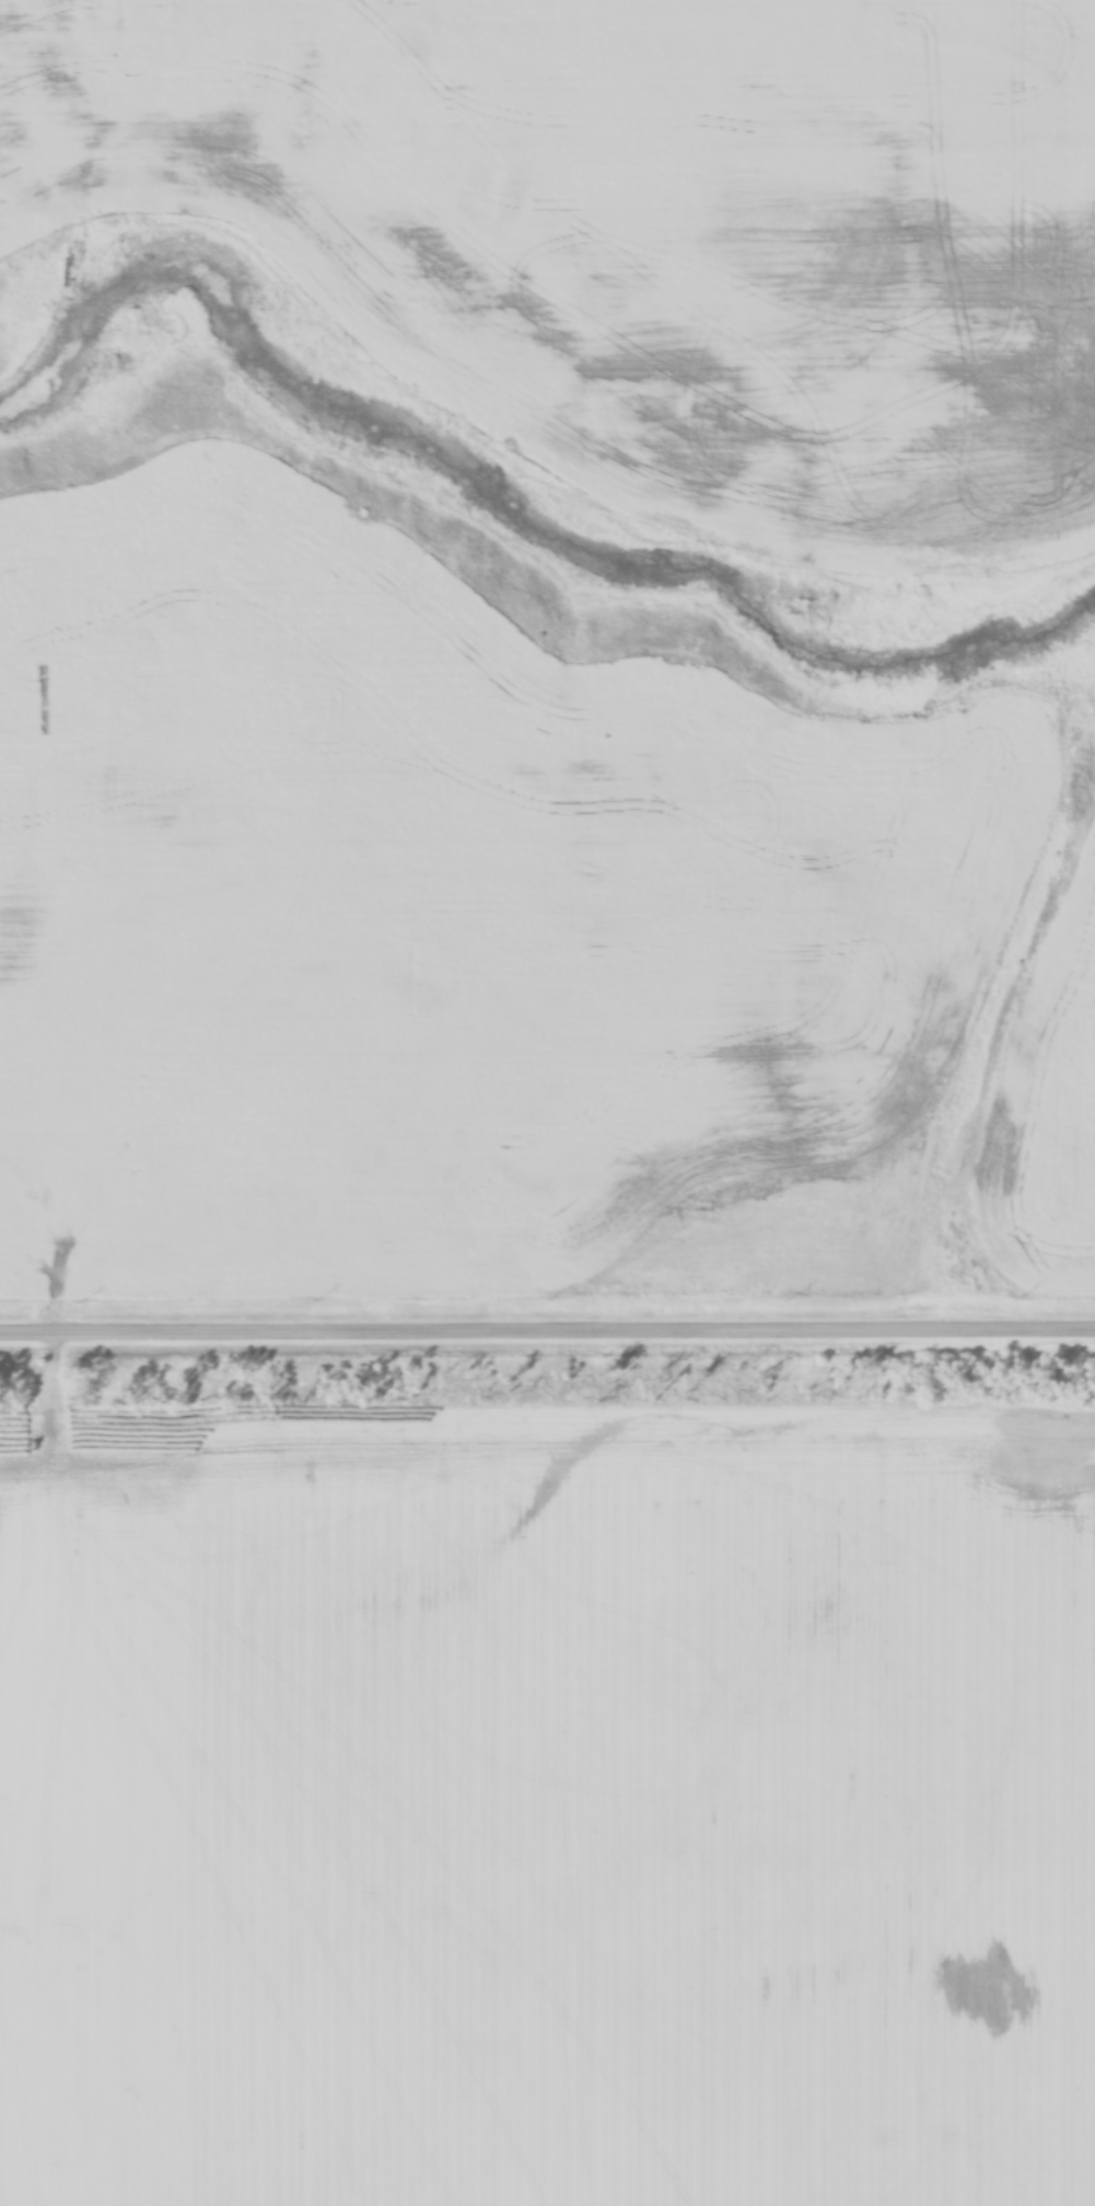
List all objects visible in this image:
road: (547, 1332)

